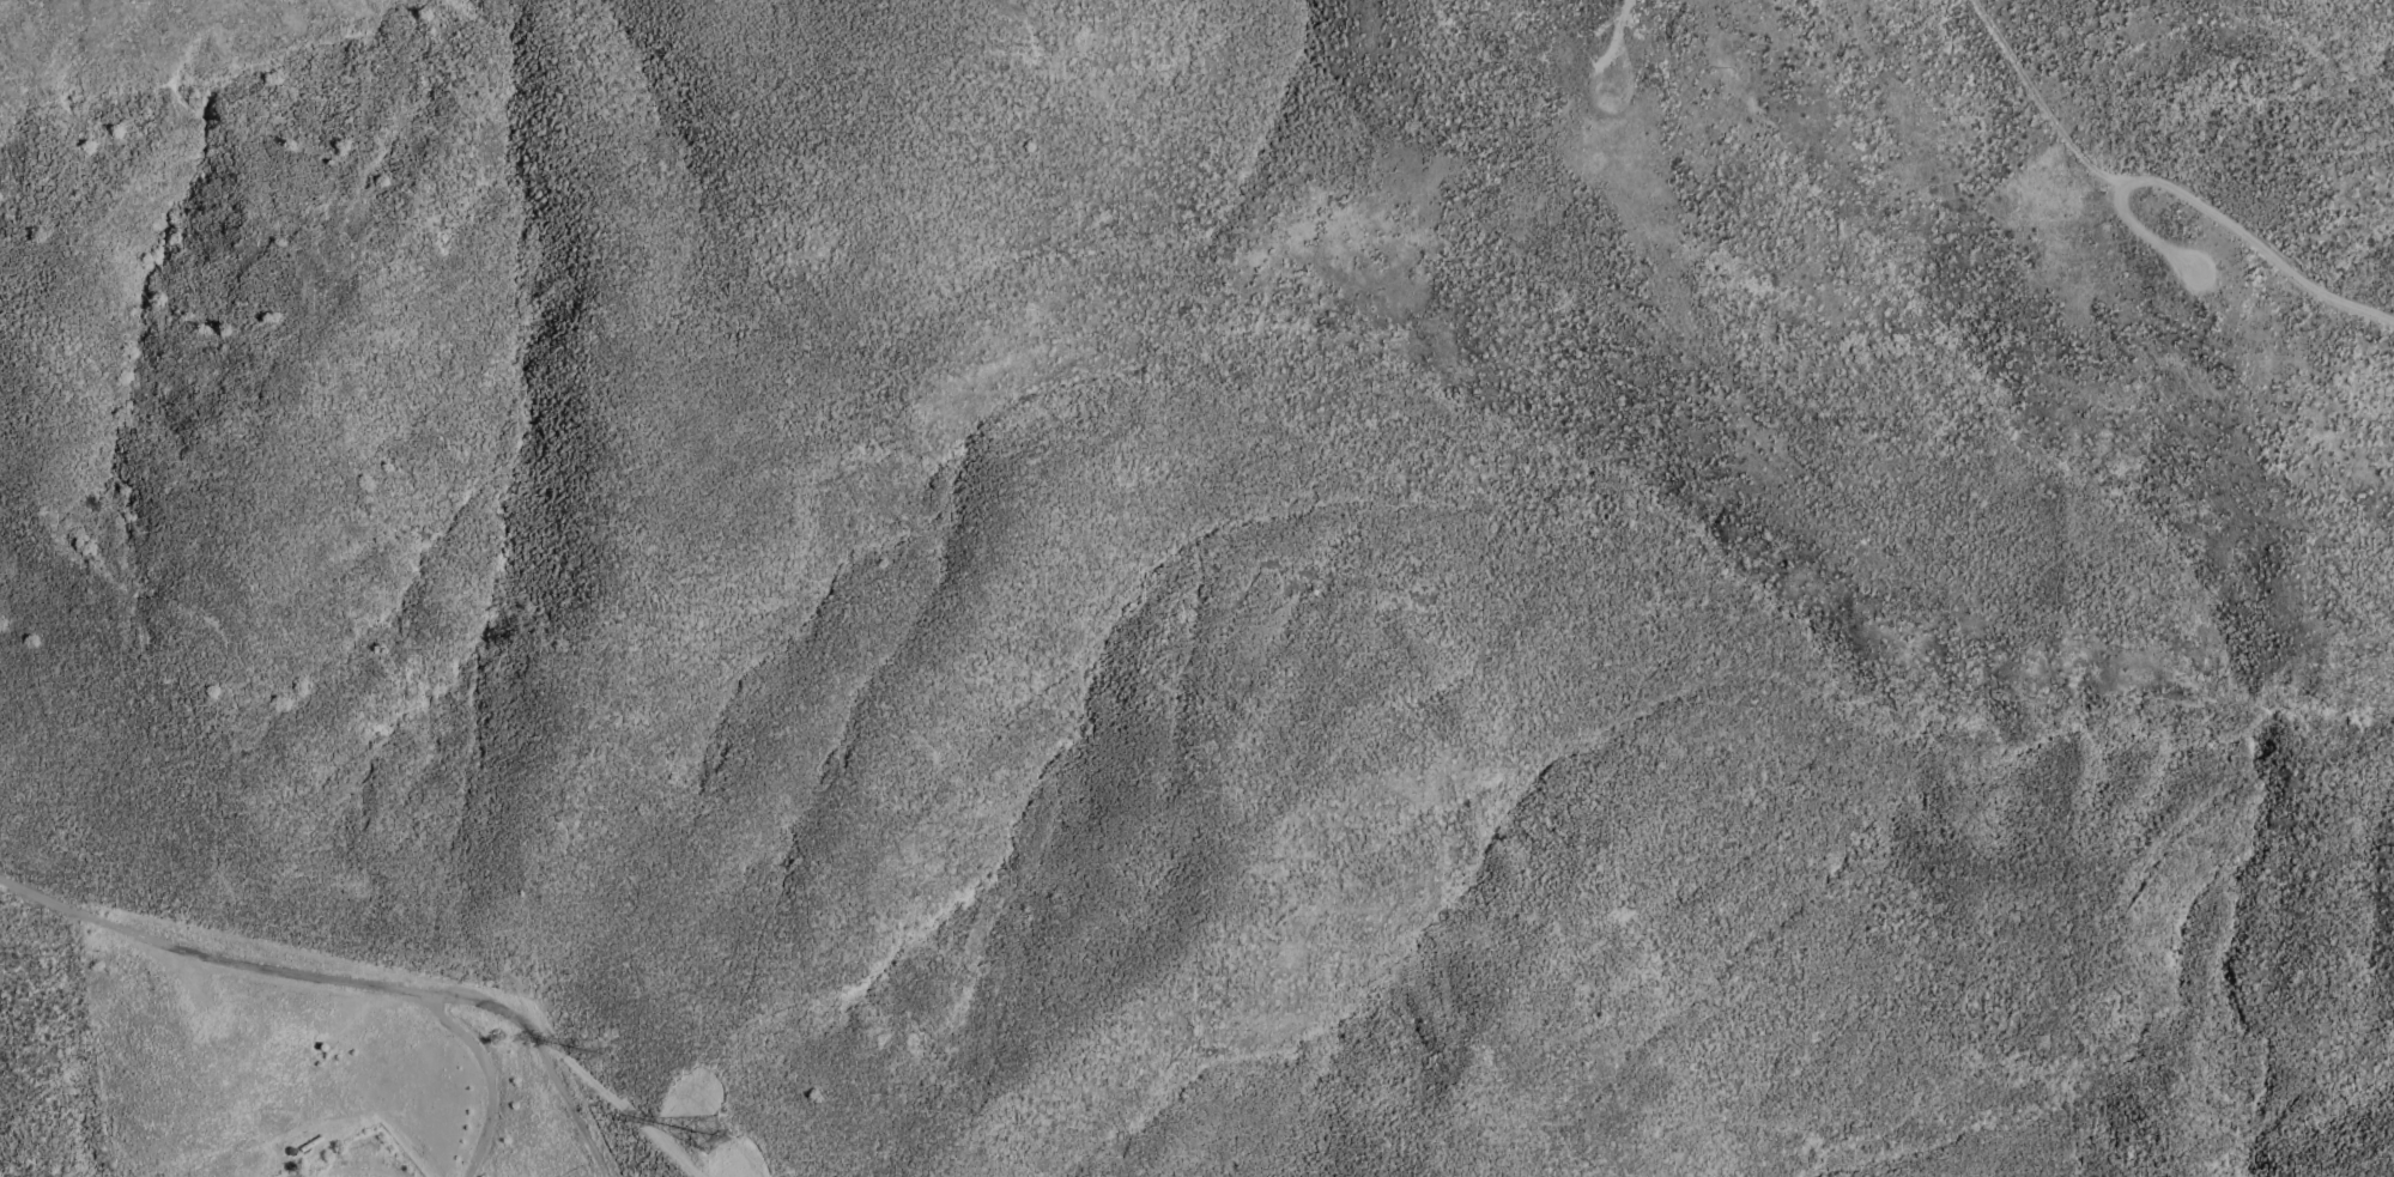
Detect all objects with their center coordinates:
road: (341, 984)
power tower: (588, 1052)
road: (478, 1069)
road: (601, 1094)
power tower: (705, 1137)
road: (723, 1170)

